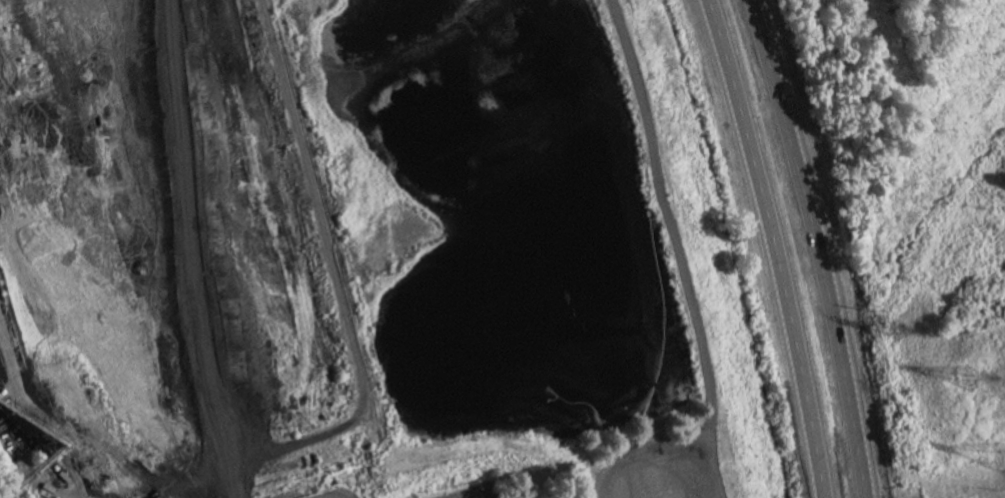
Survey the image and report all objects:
road: (926, 119)
road: (775, 247)
road: (816, 247)
power tower: (971, 376)
parking lot: (473, 490)
helipad: (660, 491)
road: (336, 496)

